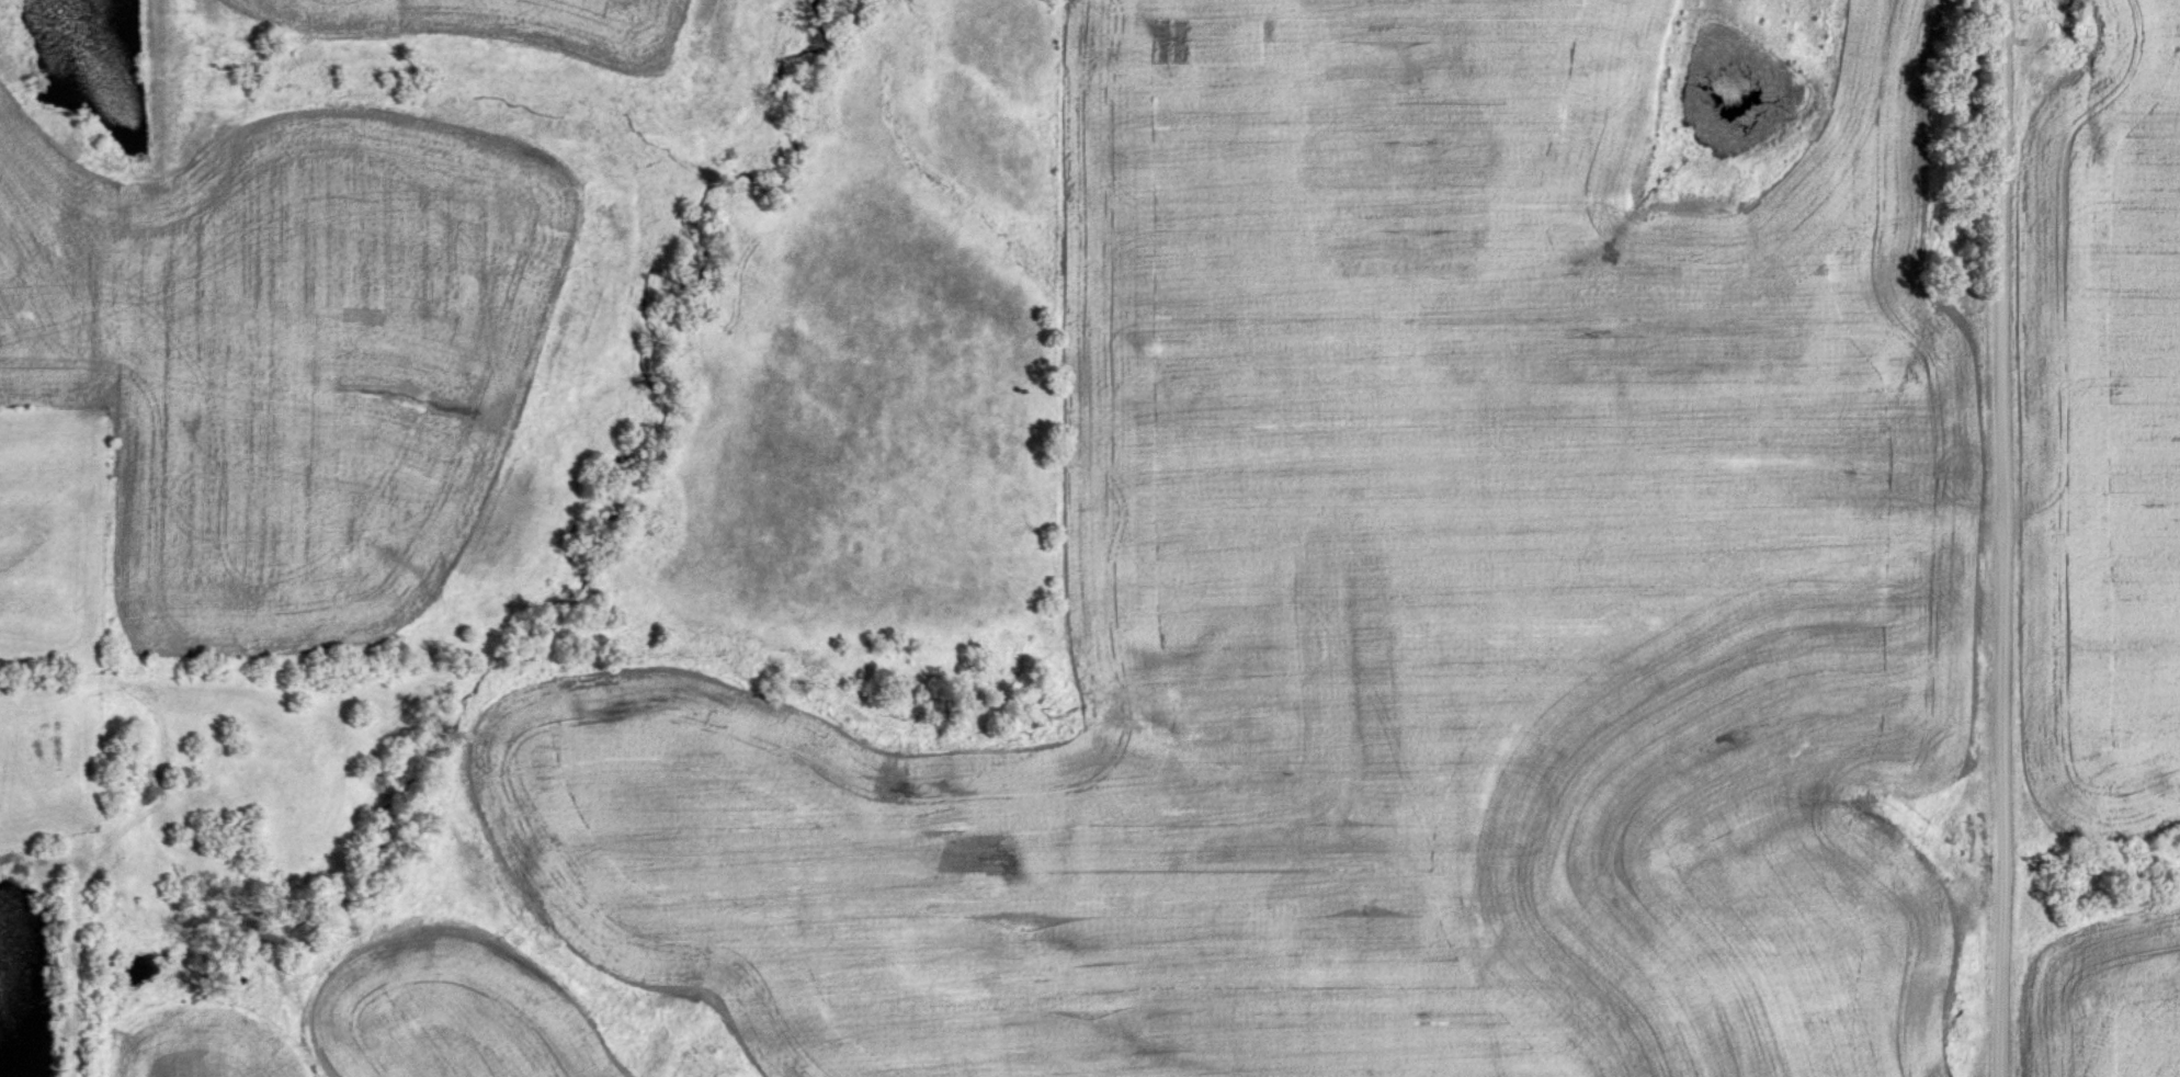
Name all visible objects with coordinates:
road: (2001, 537)

